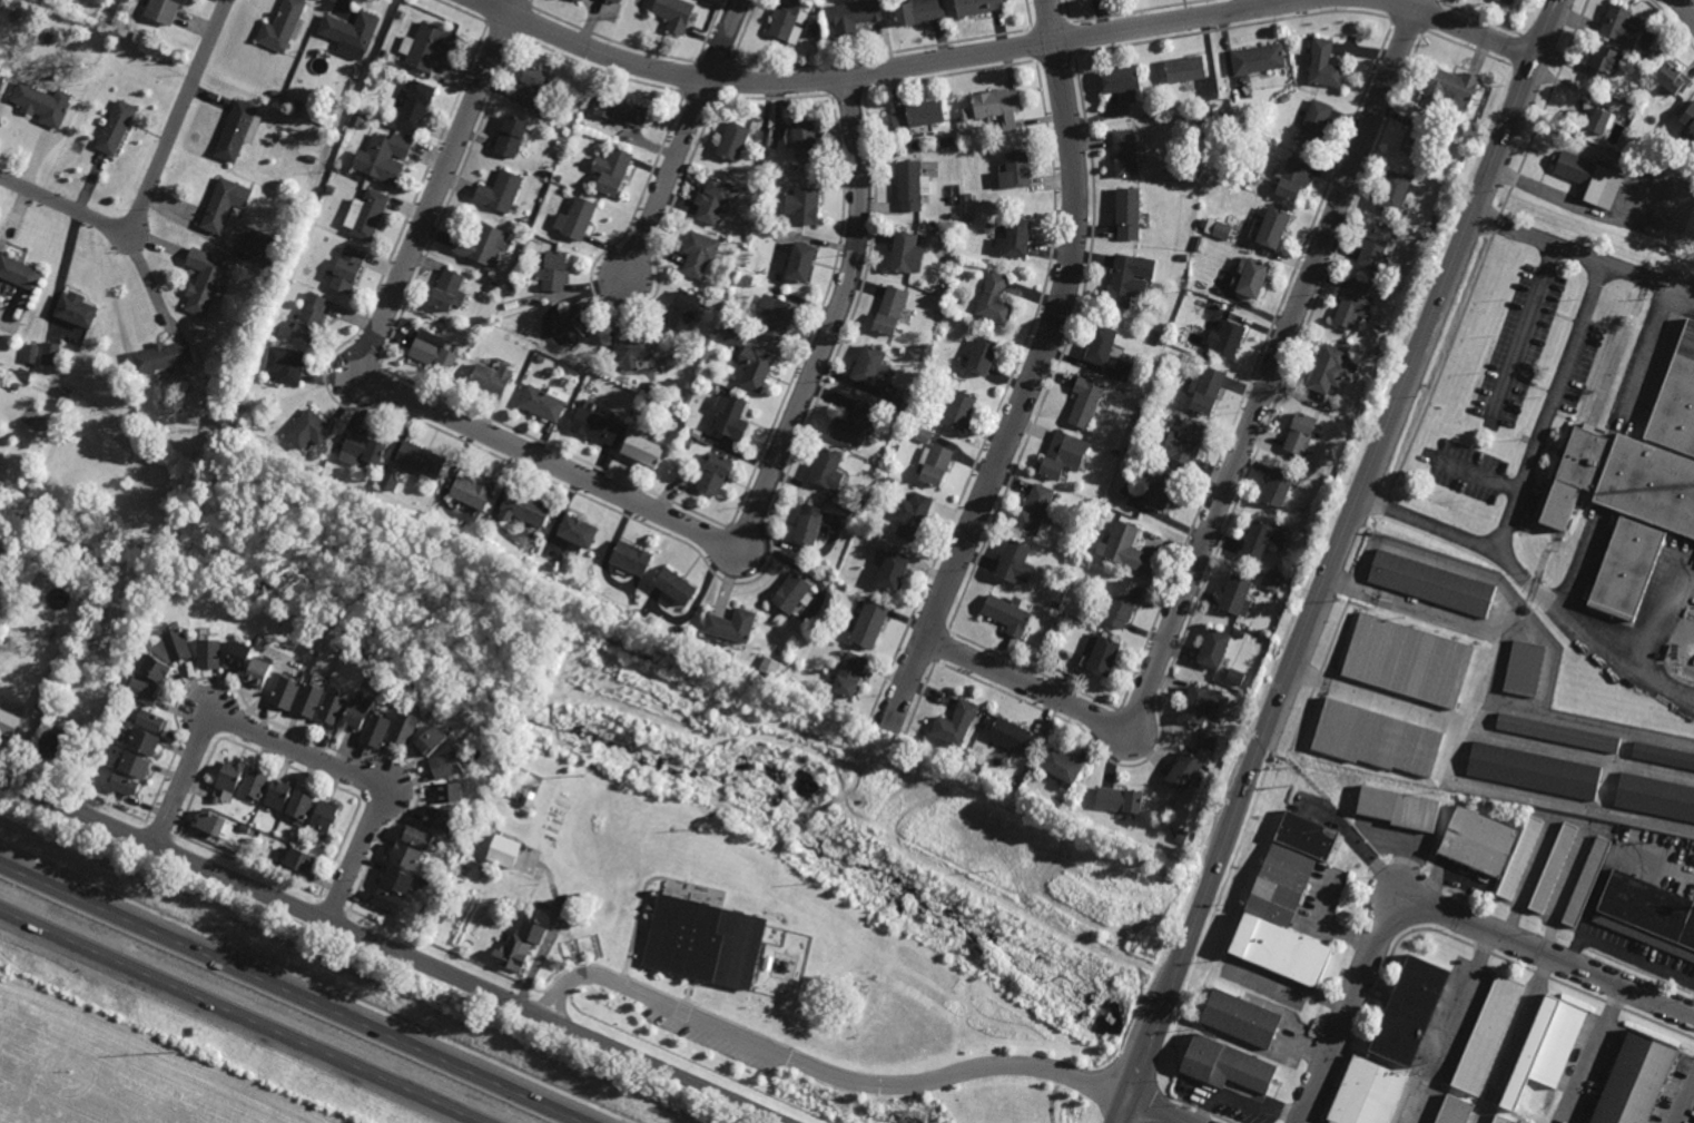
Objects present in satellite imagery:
building: (580, 0)
building: (615, 1)
building: (1507, 2)
road: (1254, 4)
building: (979, 7)
road: (1685, 10)
building: (162, 11)
building: (919, 12)
building: (676, 13)
building: (856, 16)
building: (789, 20)
road: (1455, 24)
building: (283, 26)
building: (1623, 26)
building: (351, 33)
building: (49, 38)
road: (725, 40)
building: (429, 47)
building: (1654, 57)
building: (116, 58)
building: (1259, 59)
building: (1604, 62)
building: (1326, 65)
road: (892, 69)
building: (1186, 70)
building: (1674, 78)
building: (2, 79)
building: (1124, 80)
building: (278, 81)
building: (1452, 87)
building: (531, 89)
building: (277, 93)
building: (43, 104)
building: (417, 106)
building: (1001, 106)
building: (622, 111)
building: (548, 115)
building: (919, 115)
building: (1225, 115)
building: (964, 116)
building: (1203, 117)
building: (1690, 120)
building: (1589, 121)
building: (360, 122)
building: (1314, 125)
building: (116, 128)
building: (237, 130)
building: (511, 137)
building: (1418, 138)
building: (806, 140)
building: (735, 141)
building: (1130, 152)
building: (387, 158)
building: (311, 159)
building: (612, 171)
building: (1018, 171)
building: (548, 174)
building: (1190, 174)
road: (670, 176)
road: (154, 177)
building: (558, 178)
building: (1235, 178)
building: (1293, 179)
building: (1589, 179)
building: (912, 186)
building: (332, 190)
building: (500, 193)
building: (1396, 193)
building: (968, 197)
building: (716, 200)
road: (1575, 204)
building: (226, 205)
building: (805, 206)
building: (1130, 214)
building: (367, 215)
building: (957, 216)
building: (577, 219)
building: (968, 219)
building: (1273, 228)
building: (1222, 230)
building: (1016, 239)
building: (483, 245)
building: (1376, 246)
building: (264, 248)
building: (699, 255)
building: (908, 255)
road: (1583, 255)
building: (1183, 257)
building: (1195, 257)
building: (802, 264)
building: (347, 270)
building: (554, 273)
building: (20, 274)
building: (779, 278)
building: (1253, 278)
building: (1129, 279)
building: (205, 282)
building: (495, 286)
building: (512, 290)
building: (449, 293)
building: (1188, 298)
building: (996, 301)
building: (1356, 304)
building: (719, 305)
building: (78, 312)
building: (890, 312)
building: (685, 313)
building: (777, 316)
building: (312, 319)
building: (573, 324)
road: (1525, 333)
building: (269, 338)
building: (735, 338)
building: (1172, 339)
building: (1228, 341)
building: (1103, 346)
building: (1382, 349)
building: (636, 351)
building: (31, 353)
building: (434, 353)
building: (51, 354)
building: (164, 356)
building: (982, 357)
building: (288, 364)
building: (869, 366)
building: (756, 368)
building: (1329, 371)
road: (1035, 373)
building: (167, 374)
building: (731, 377)
building: (491, 380)
building: (1136, 385)
building: (651, 387)
building: (1207, 388)
building: (66, 392)
building: (678, 398)
building: (209, 400)
building: (1135, 400)
building: (226, 401)
building: (59, 402)
building: (544, 402)
building: (648, 402)
building: (1086, 402)
building: (899, 403)
road: (1548, 407)
building: (961, 410)
building: (732, 416)
building: (1180, 416)
building: (853, 424)
building: (595, 425)
building: (311, 427)
building: (908, 428)
building: (1300, 432)
building: (923, 434)
building: (1184, 440)
building: (643, 446)
building: (364, 449)
building: (1134, 449)
building: (1115, 453)
building: (1064, 454)
building: (422, 459)
building: (935, 463)
road: (1237, 464)
building: (828, 469)
building: (715, 472)
building: (392, 479)
building: (890, 481)
road: (591, 482)
building: (1278, 484)
building: (1634, 486)
building: (370, 489)
building: (474, 489)
building: (1161, 489)
building: (1057, 498)
building: (525, 506)
building: (1036, 508)
building: (1105, 512)
building: (913, 515)
building: (809, 523)
building: (579, 530)
building: (1261, 536)
building: (873, 539)
building: (1127, 546)
building: (632, 556)
road: (1332, 559)
building: (1017, 561)
building: (894, 569)
building: (1271, 571)
building: (1277, 573)
building: (1434, 582)
building: (1274, 584)
building: (677, 585)
road: (1533, 589)
building: (792, 591)
building: (1, 594)
building: (1237, 594)
building: (1124, 603)
building: (1056, 604)
building: (1008, 614)
road: (1653, 622)
building: (870, 623)
building: (735, 624)
building: (680, 631)
building: (1239, 631)
building: (806, 633)
building: (178, 643)
building: (1213, 647)
building: (1409, 647)
building: (211, 651)
building: (729, 653)
building: (242, 654)
building: (1106, 654)
building: (326, 657)
building: (770, 664)
building: (158, 667)
building: (1526, 668)
building: (60, 671)
building: (262, 671)
building: (849, 673)
building: (1235, 676)
building: (781, 678)
building: (144, 689)
building: (287, 692)
building: (1418, 692)
building: (46, 697)
building: (312, 699)
building: (1200, 702)
building: (114, 707)
building: (334, 708)
building: (360, 715)
building: (154, 720)
building: (9, 722)
building: (957, 723)
building: (405, 726)
building: (378, 730)
building: (1558, 732)
building: (491, 733)
building: (1014, 736)
building: (1346, 739)
building: (430, 740)
building: (146, 741)
building: (53, 743)
building: (85, 749)
road: (298, 750)
building: (1663, 753)
building: (955, 757)
building: (77, 760)
building: (137, 765)
building: (446, 765)
building: (1065, 767)
building: (978, 768)
building: (1183, 770)
building: (1535, 770)
building: (232, 777)
building: (257, 784)
building: (126, 785)
building: (449, 792)
building: (280, 795)
building: (1656, 796)
building: (216, 799)
building: (1121, 799)
building: (303, 804)
building: (1400, 808)
building: (327, 816)
building: (439, 819)
building: (214, 824)
building: (247, 828)
building: (1308, 836)
building: (1181, 837)
building: (417, 838)
building: (1479, 841)
building: (503, 848)
building: (408, 857)
building: (1520, 857)
road: (1373, 859)
building: (304, 860)
building: (1554, 867)
building: (400, 880)
building: (1587, 881)
building: (391, 903)
building: (424, 912)
road: (1439, 912)
building: (1648, 914)
building: (514, 917)
building: (1281, 920)
building: (705, 944)
road: (392, 950)
building: (515, 953)
road: (1624, 955)
road: (1298, 992)
road: (292, 993)
building: (1411, 1013)
road: (239, 1016)
building: (1241, 1019)
road: (1449, 1027)
building: (1489, 1035)
road: (1511, 1040)
building: (1546, 1050)
road: (1593, 1052)
building: (1227, 1066)
road: (824, 1073)
building: (1636, 1081)
building: (1368, 1094)
road: (1684, 1100)
road: (1159, 1111)
building: (1456, 1111)
building: (1501, 1120)

